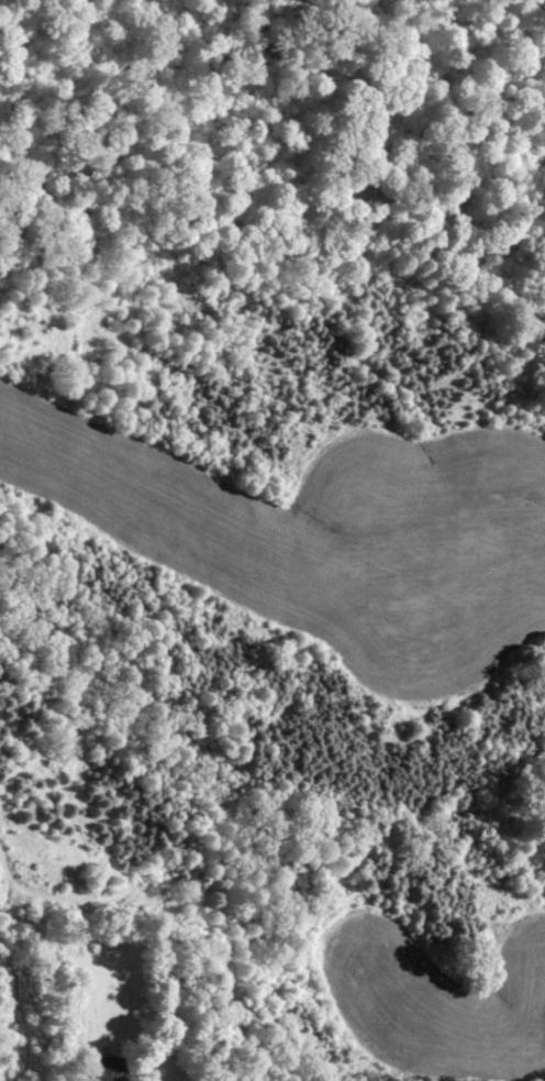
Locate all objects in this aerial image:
building: (110, 1069)

